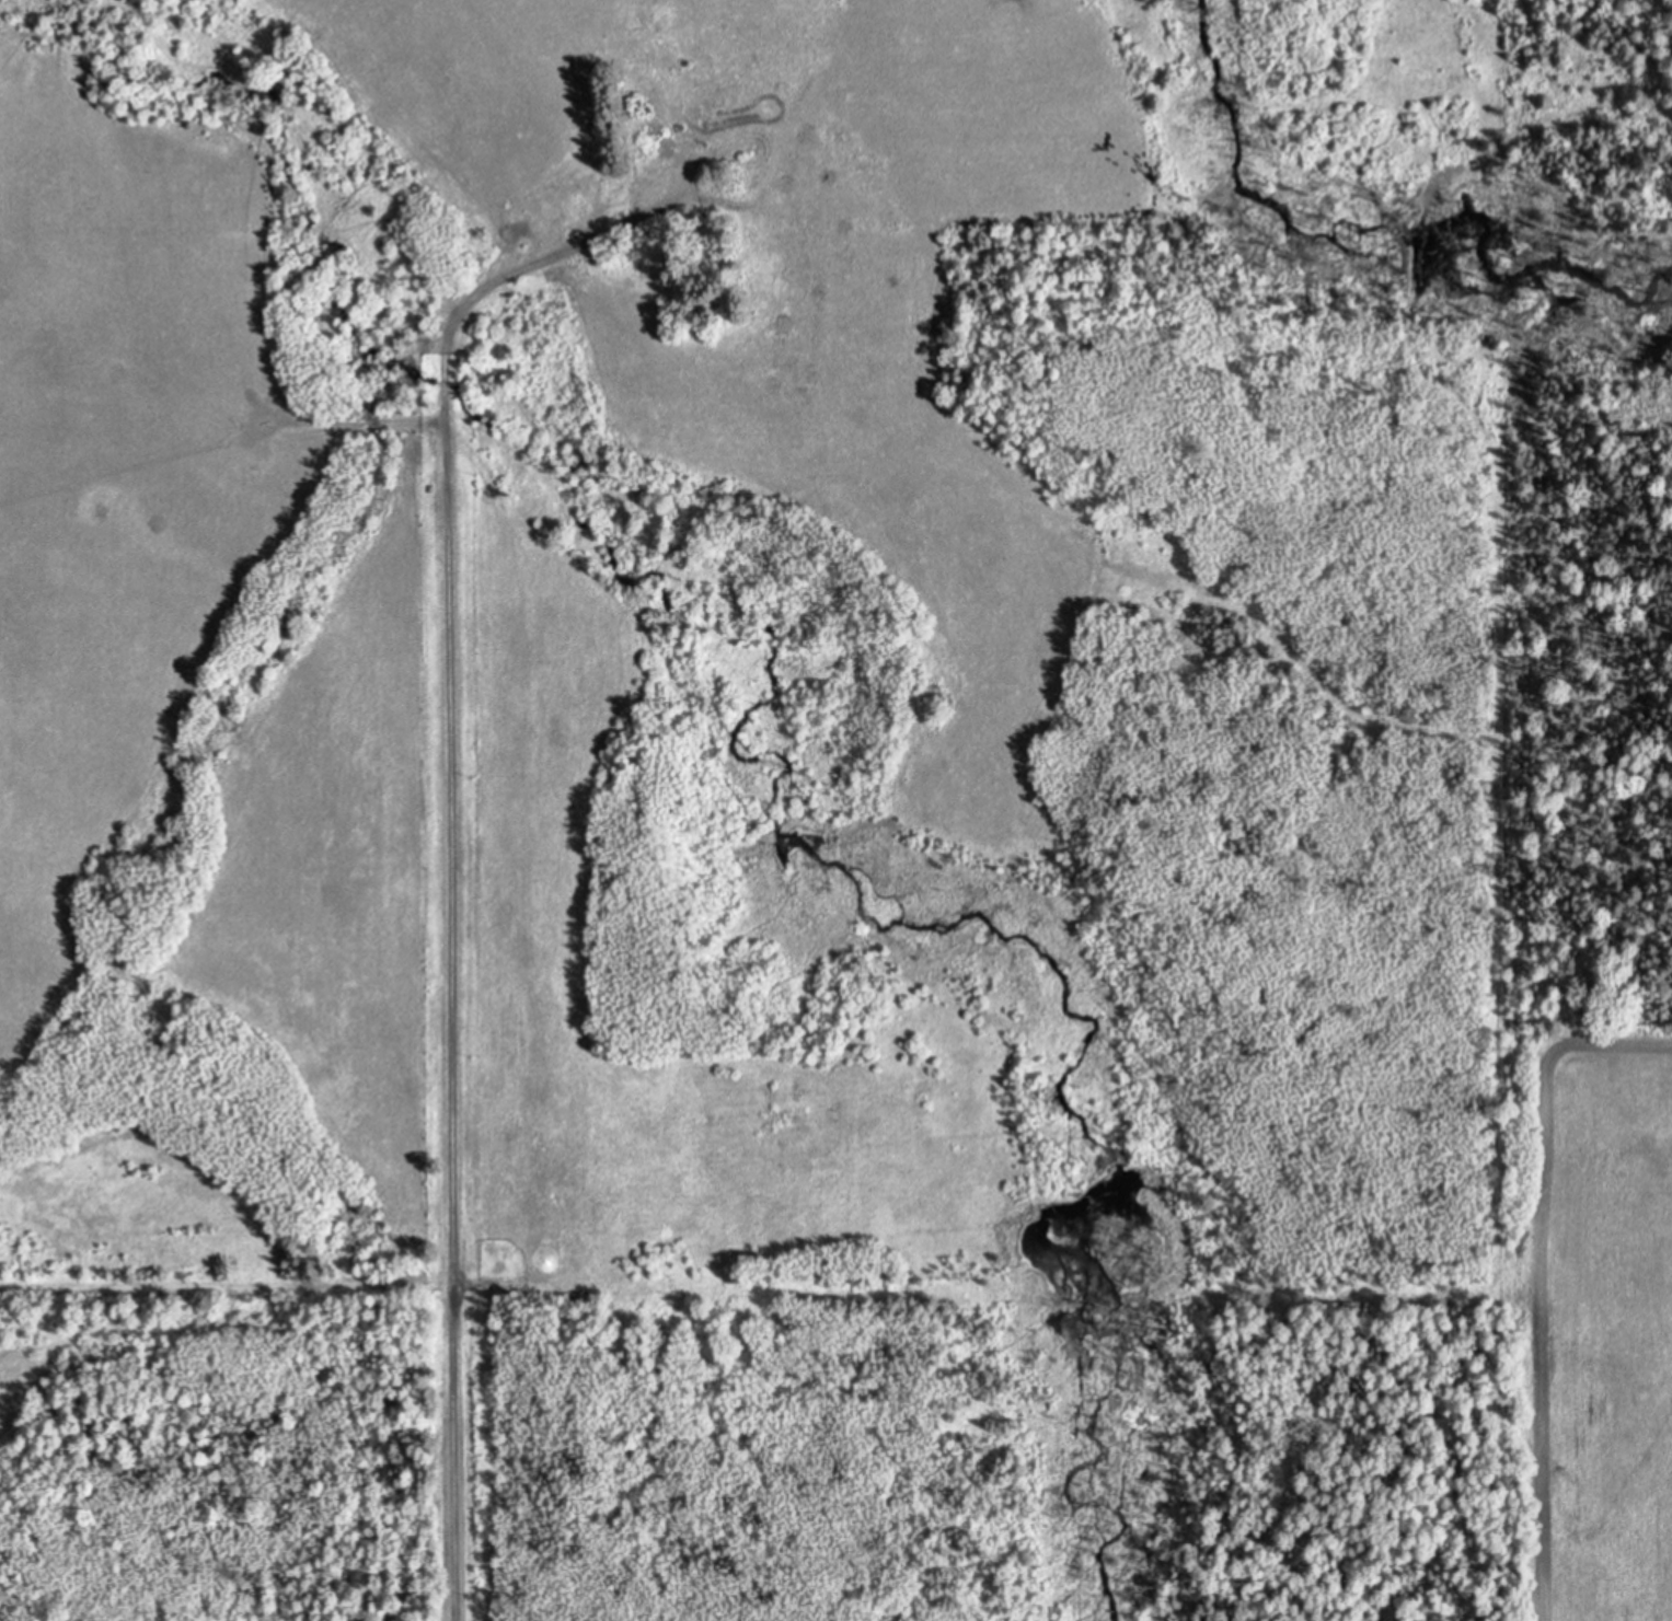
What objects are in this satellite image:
road: (448, 1027)

